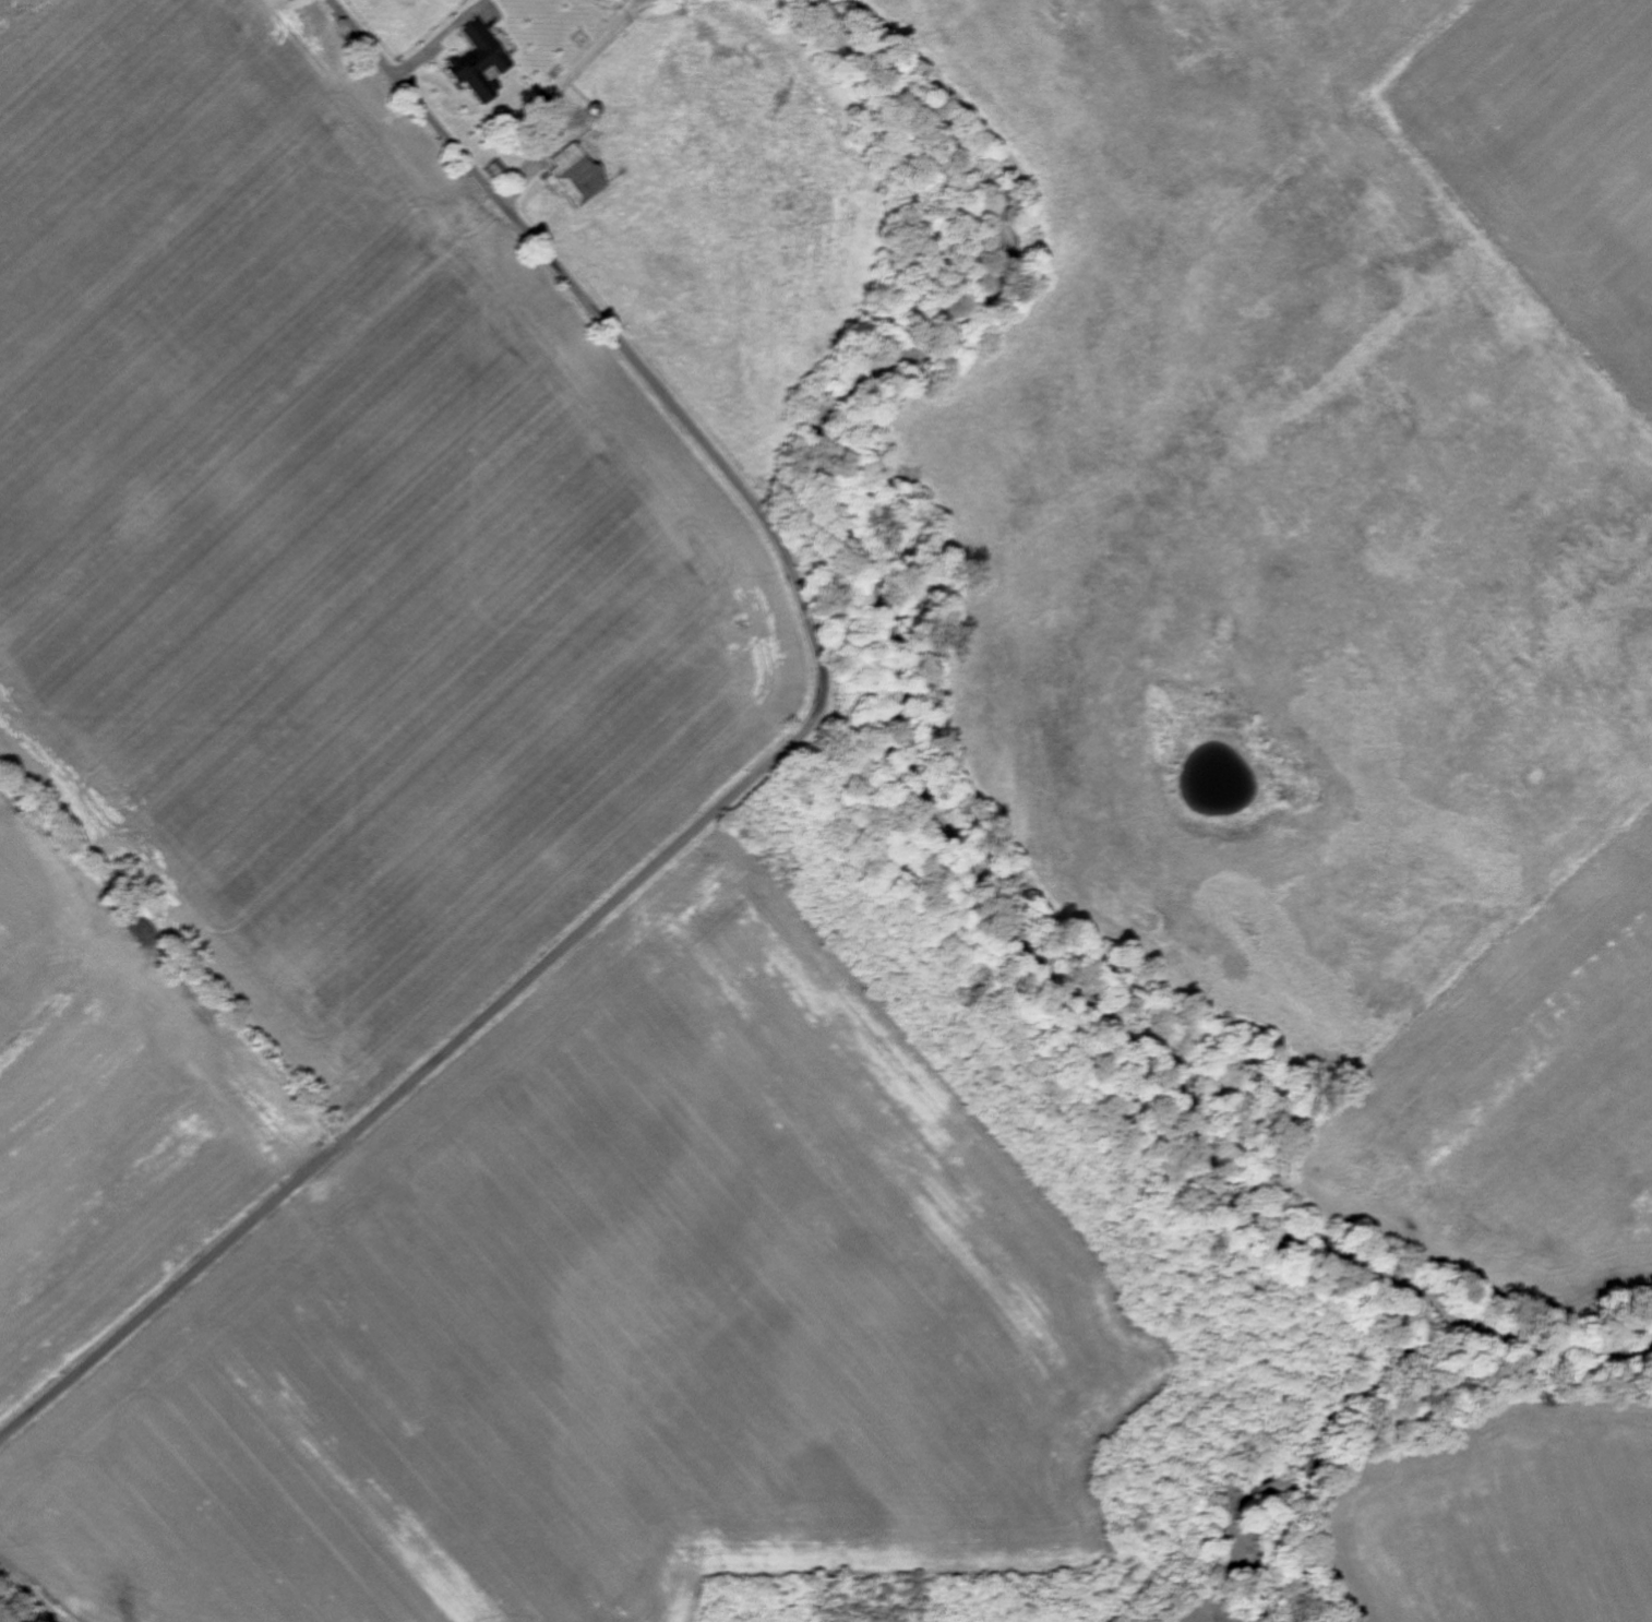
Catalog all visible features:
building: (479, 63)
building: (542, 102)
building: (574, 178)
road: (739, 785)

